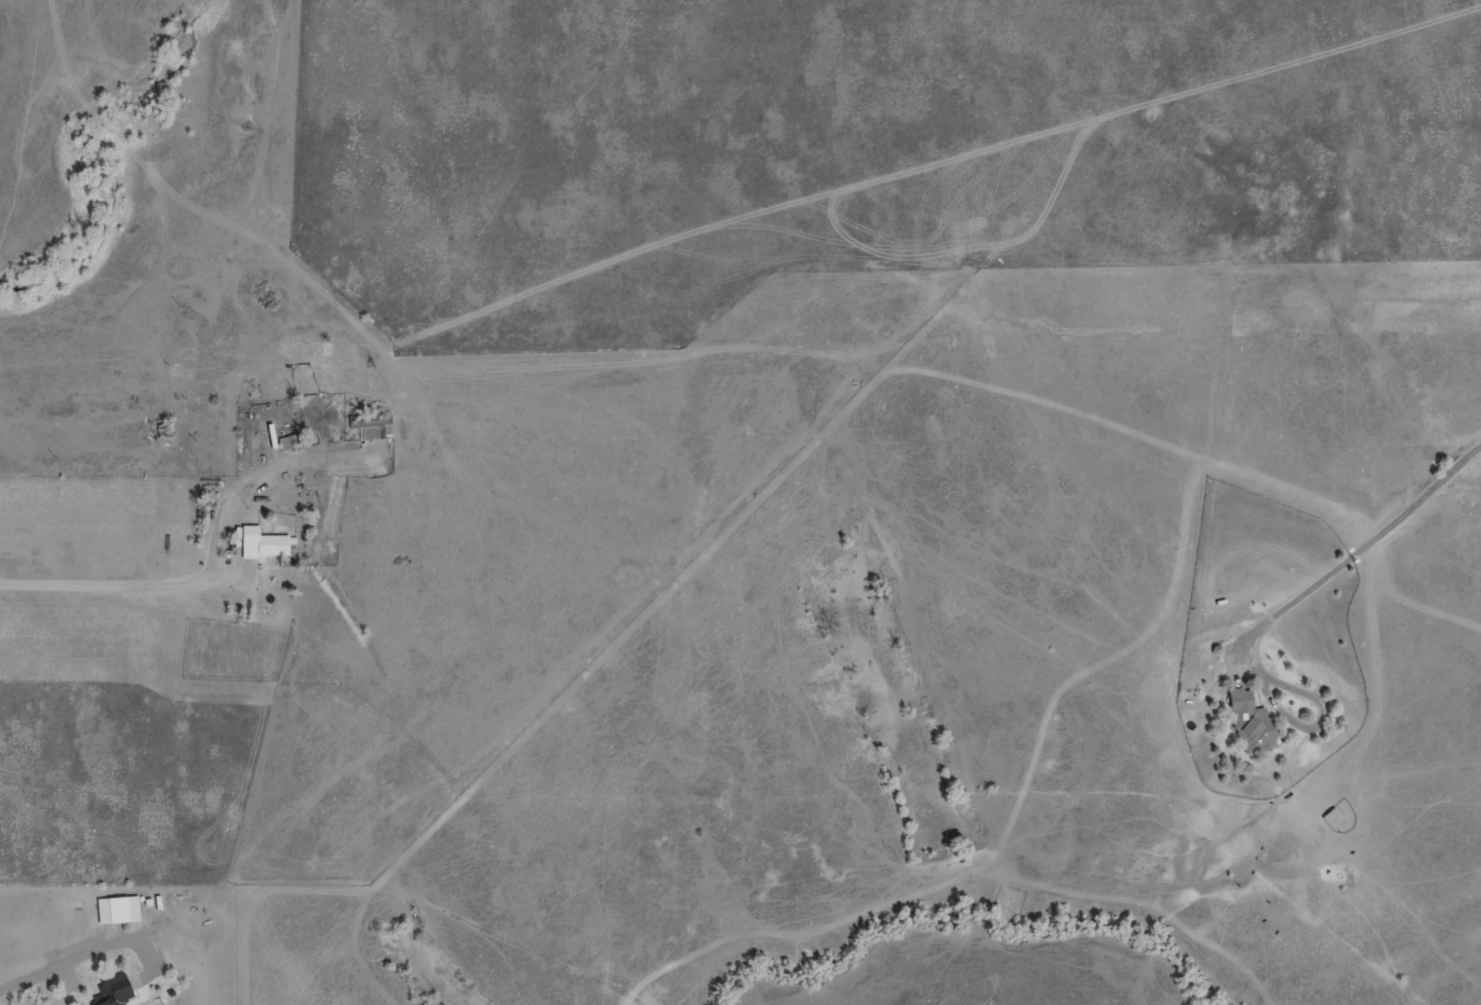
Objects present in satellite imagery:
building: (266, 546)
road: (1356, 554)
road: (123, 580)
building: (1248, 723)
road: (1315, 723)
building: (1268, 857)
building: (125, 913)
road: (86, 960)
building: (113, 992)
building: (125, 995)

